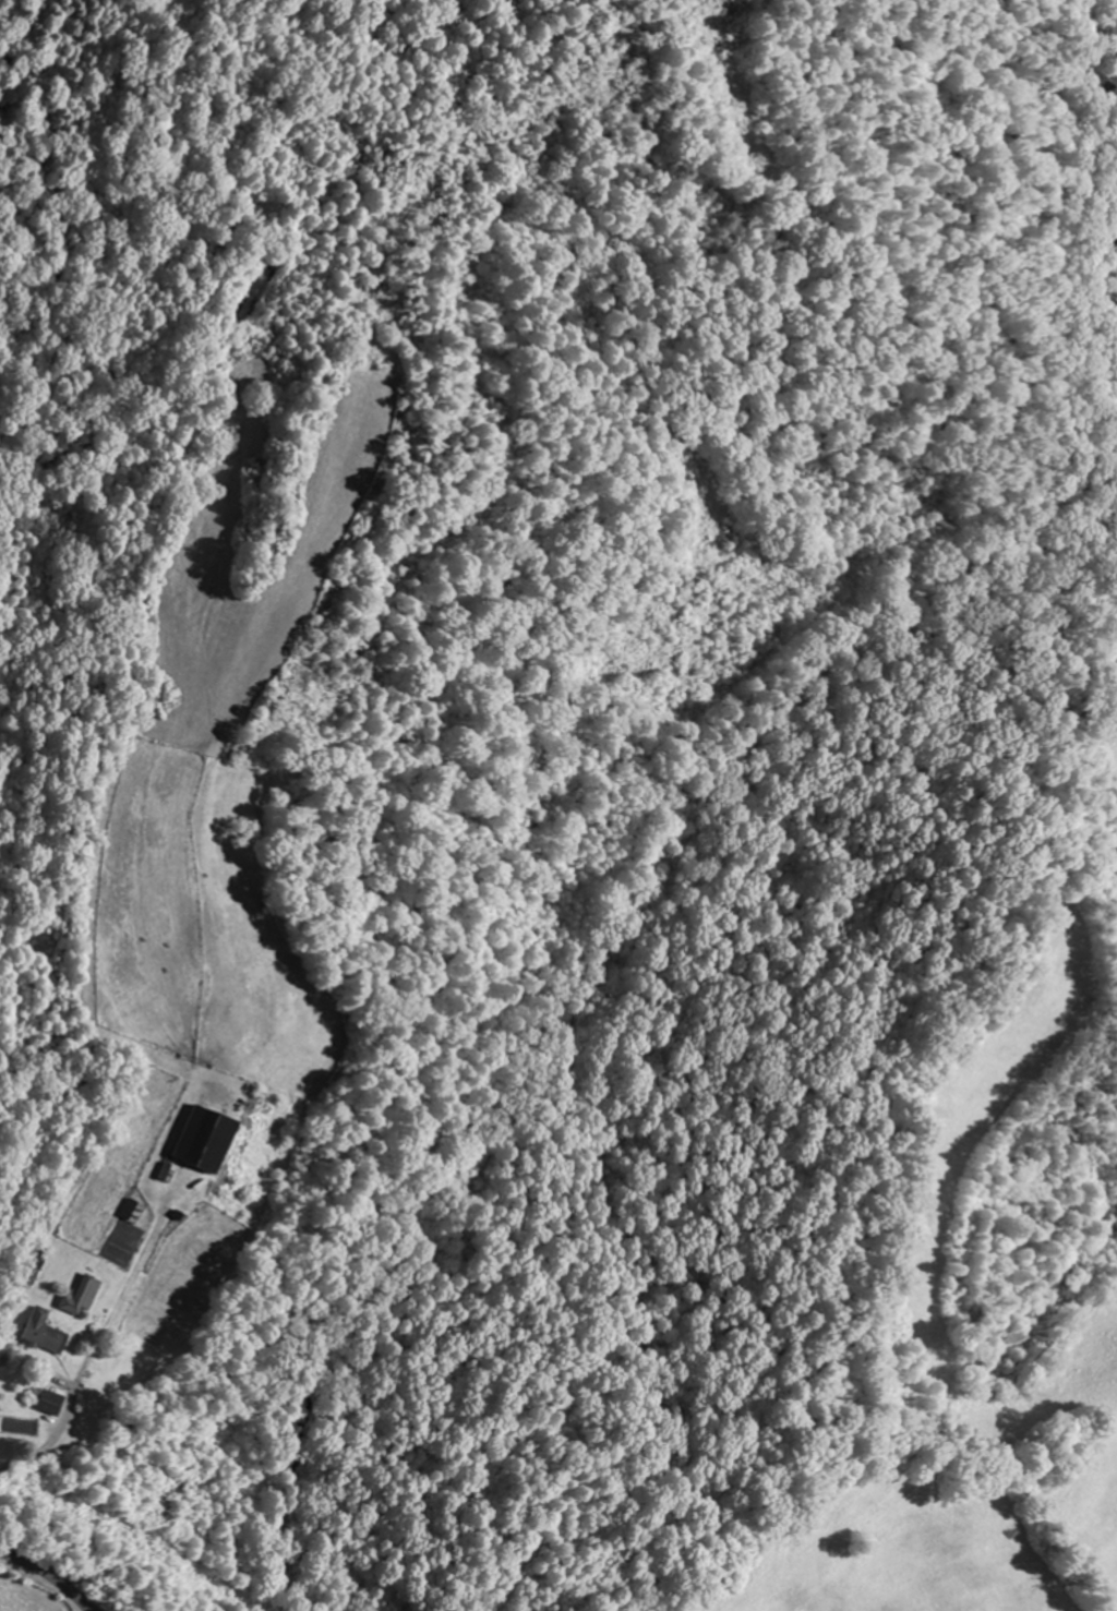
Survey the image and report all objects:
building: (199, 1140)
building: (40, 1333)
building: (47, 1403)
road: (185, 1525)
road: (46, 1577)

